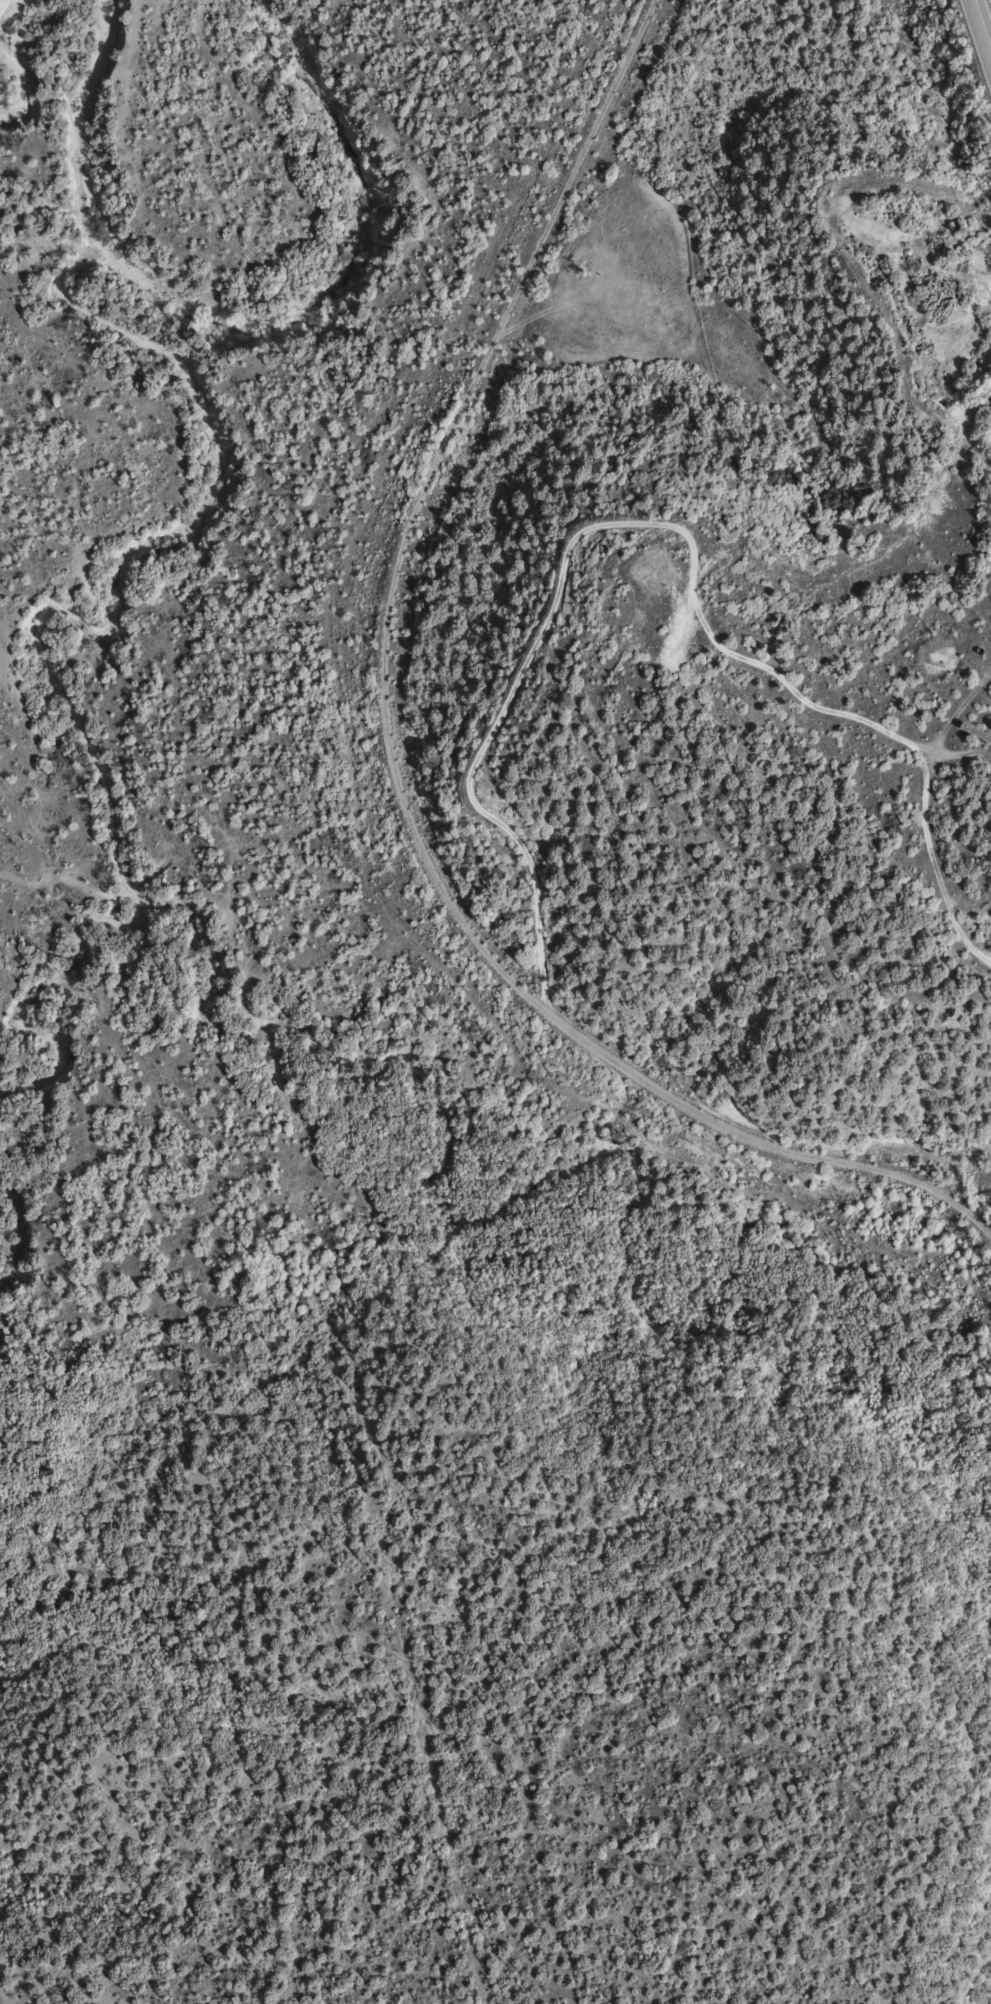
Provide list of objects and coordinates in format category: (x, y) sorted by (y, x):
road: (982, 25)
road: (935, 866)

